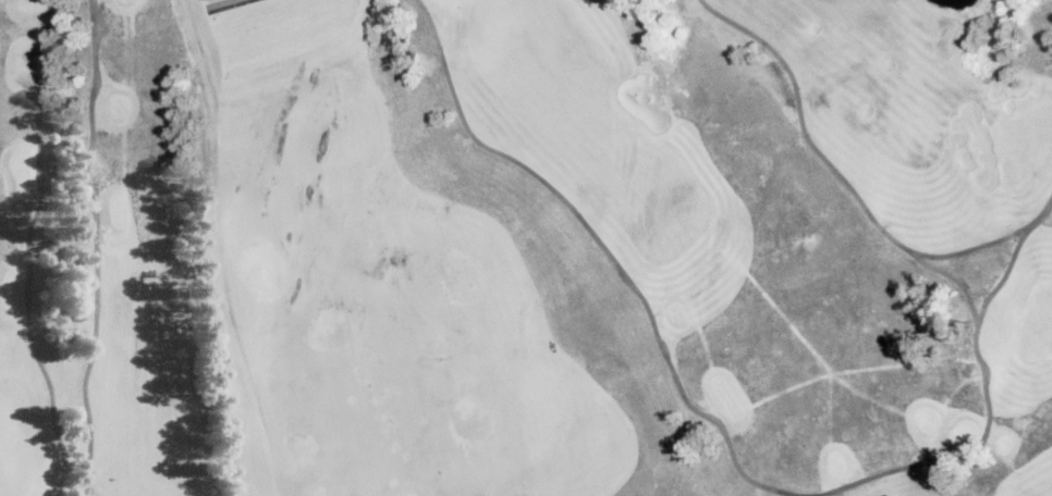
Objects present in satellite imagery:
road: (219, 2)
road: (849, 187)
road: (97, 247)
park: (526, 248)
road: (27, 249)
road: (955, 278)
road: (723, 424)

